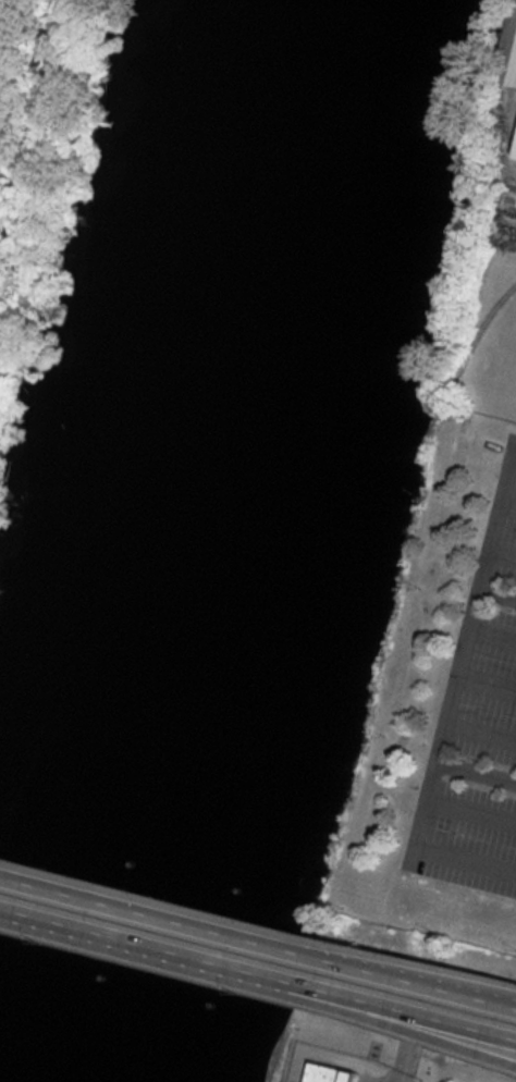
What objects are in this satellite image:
building: (509, 60)
building: (515, 158)
railway: (479, 341)
river: (234, 544)
road: (160, 914)
road: (86, 927)
road: (182, 952)
road: (418, 981)
road: (353, 996)
road: (352, 1011)
road: (418, 1012)
building: (332, 1073)

